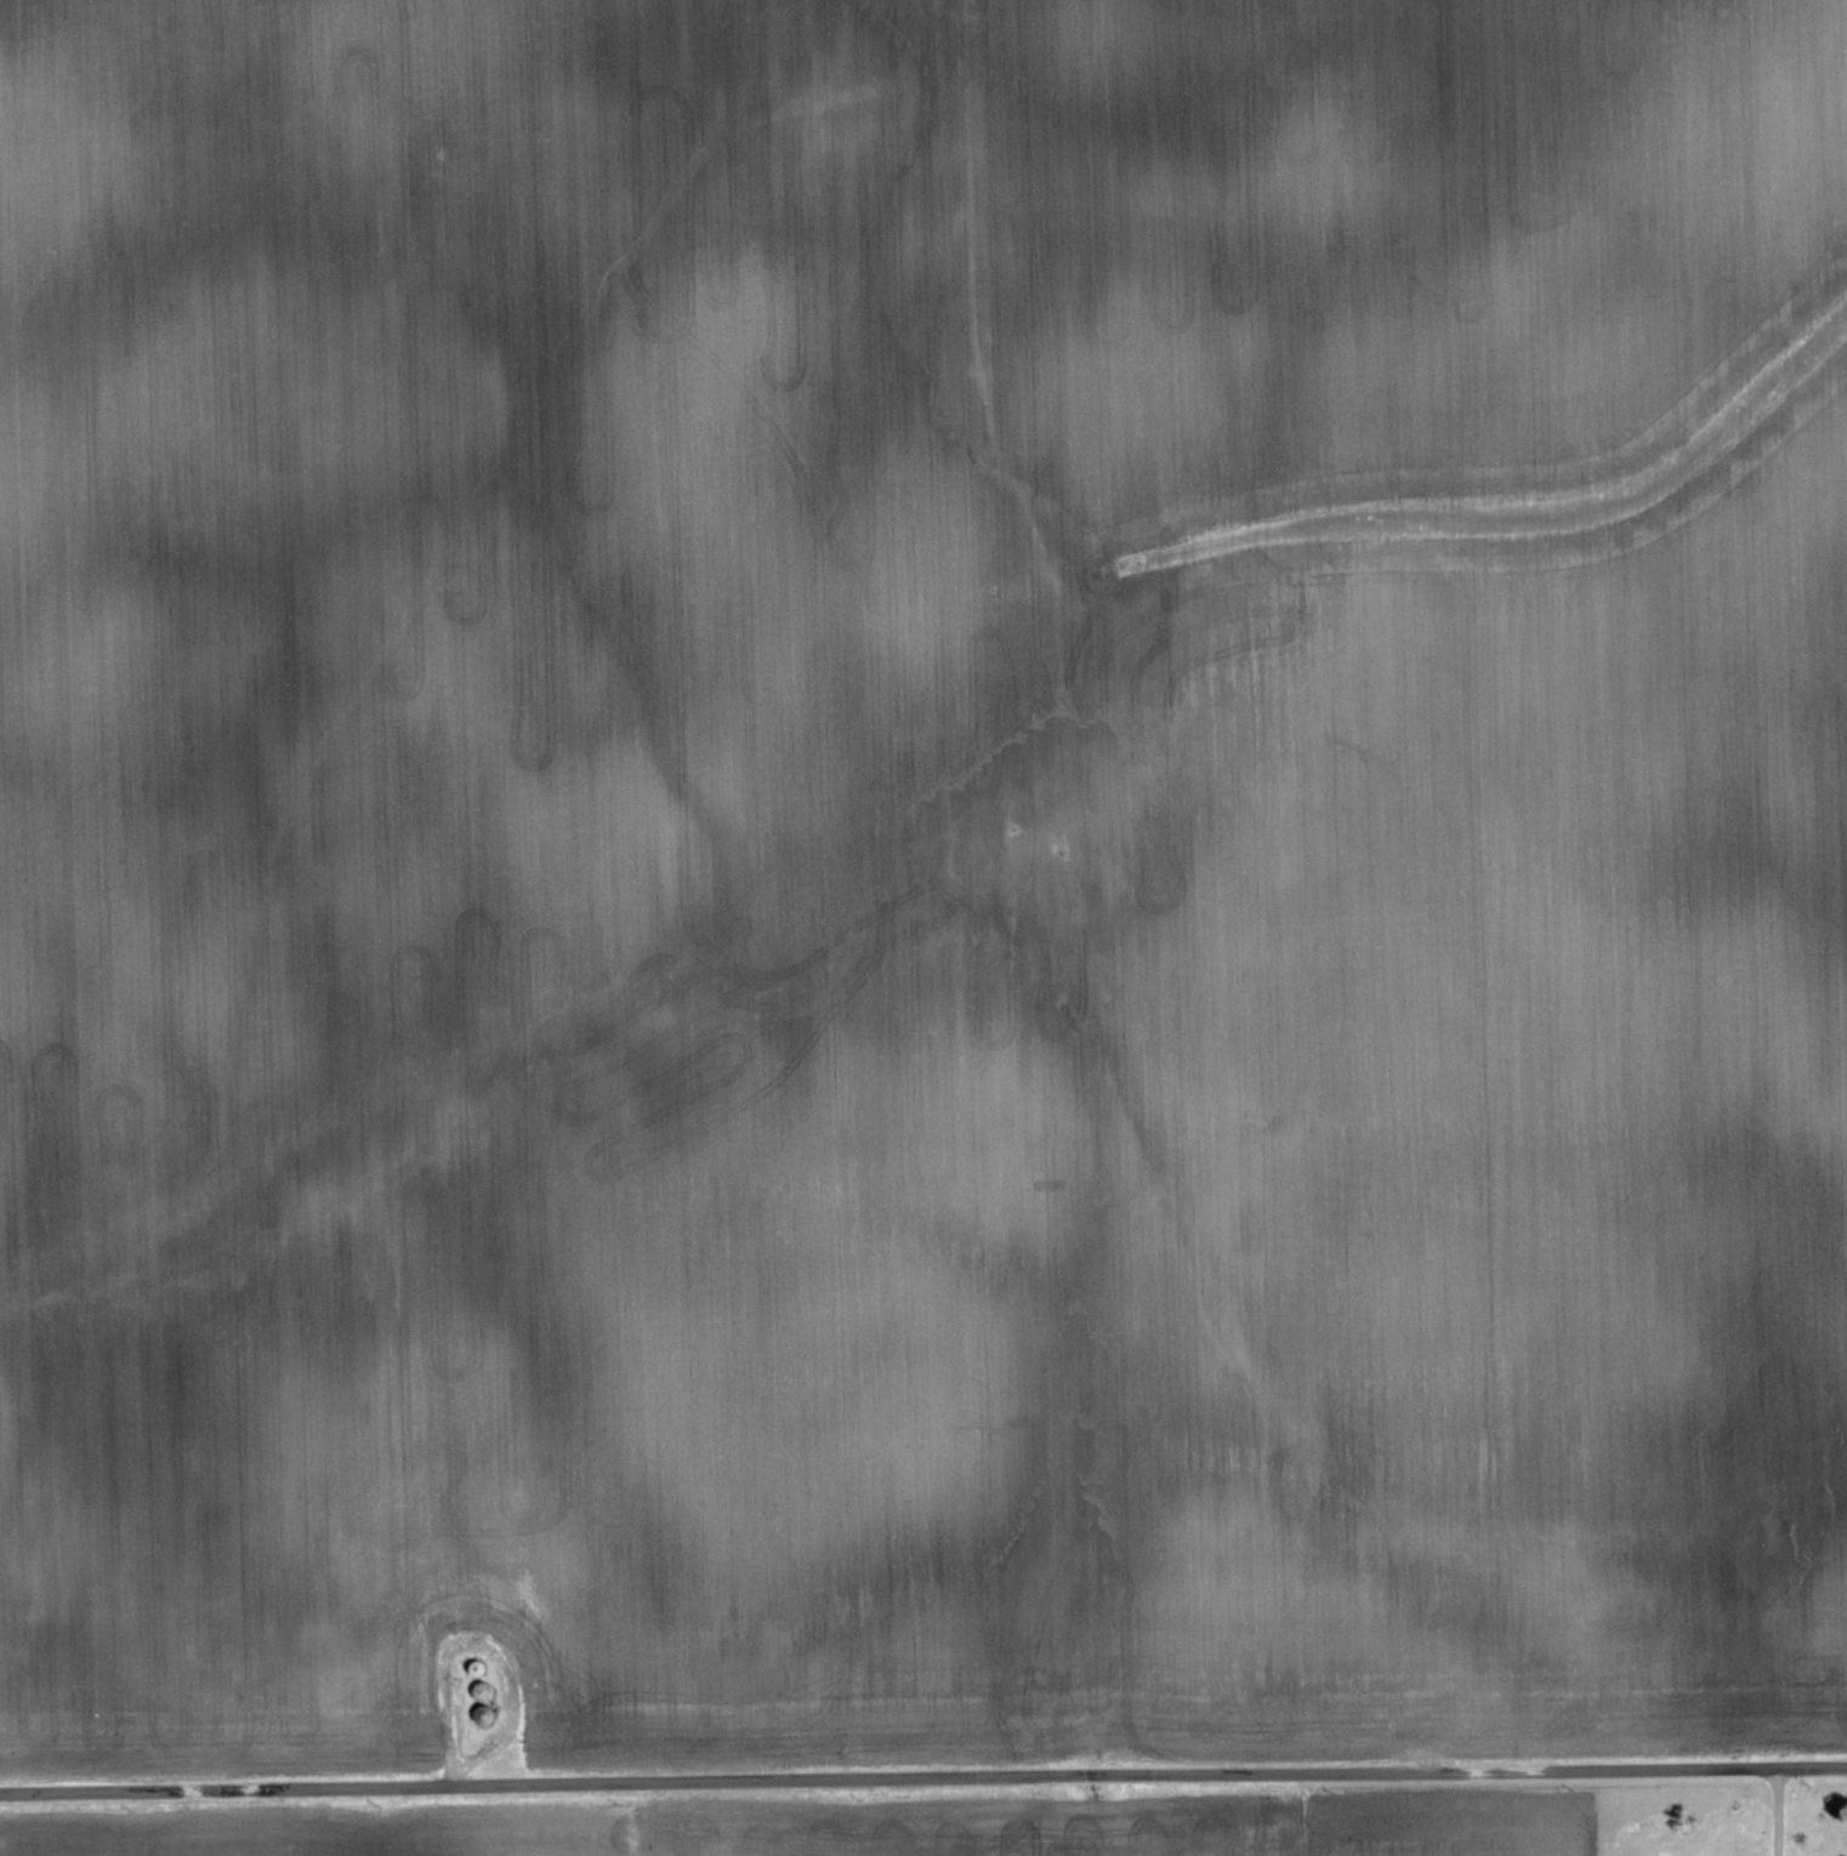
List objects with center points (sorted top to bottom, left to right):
crop: (917, 881)
road: (922, 1780)
crop: (841, 1827)

